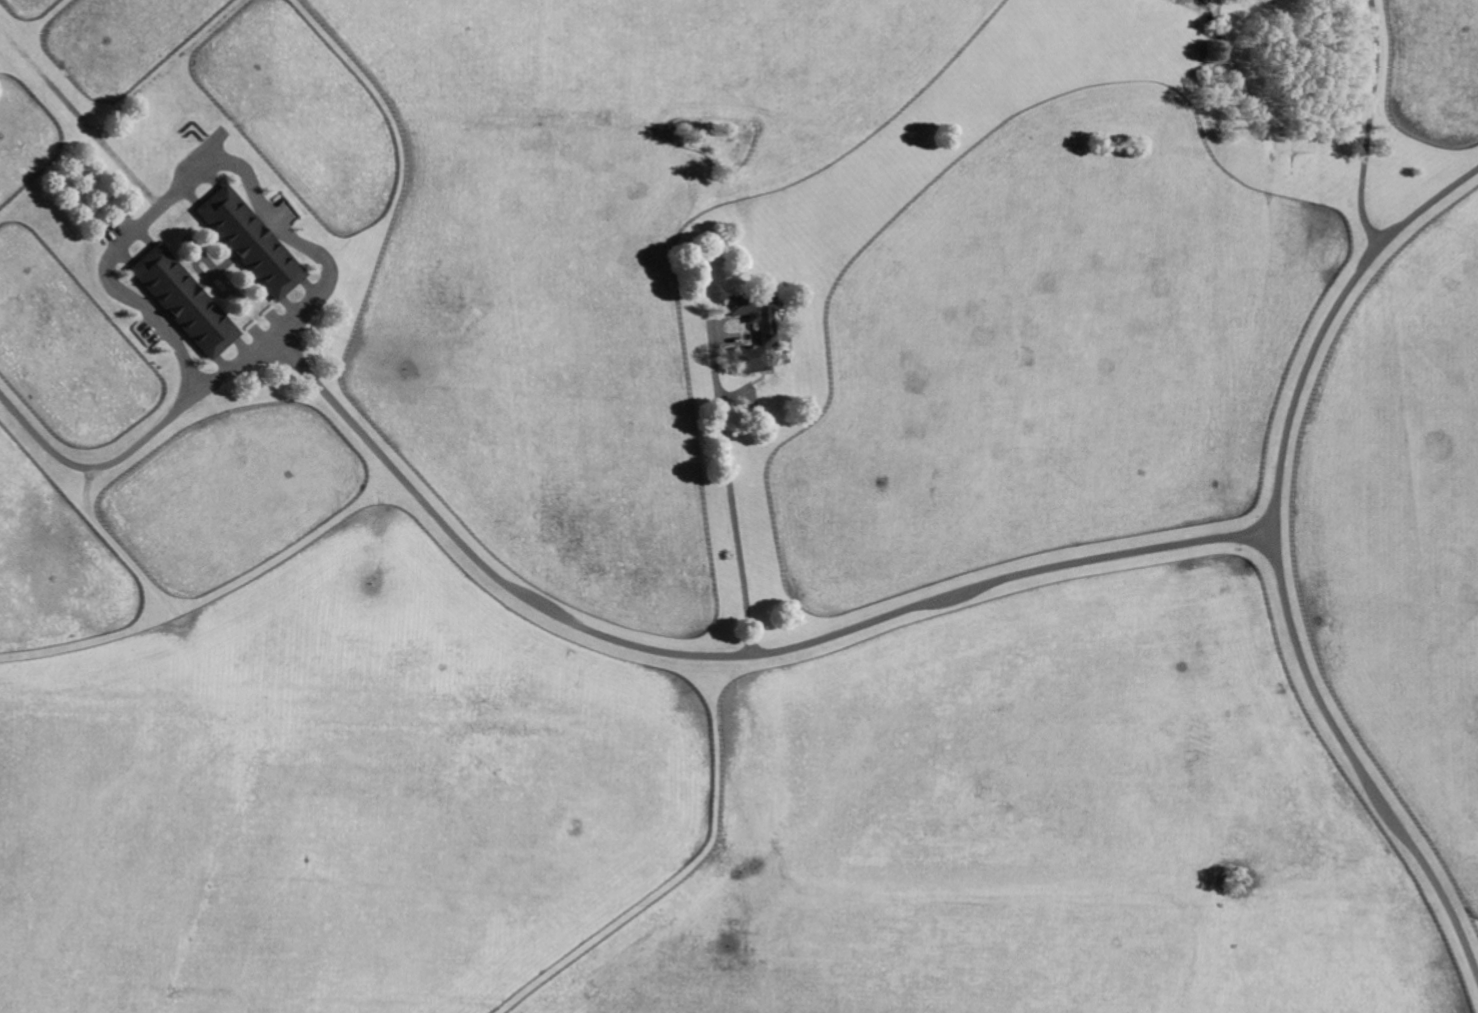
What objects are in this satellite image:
road: (1371, 126)
road: (191, 173)
building: (766, 334)
road: (732, 505)
road: (1278, 561)
road: (561, 614)

